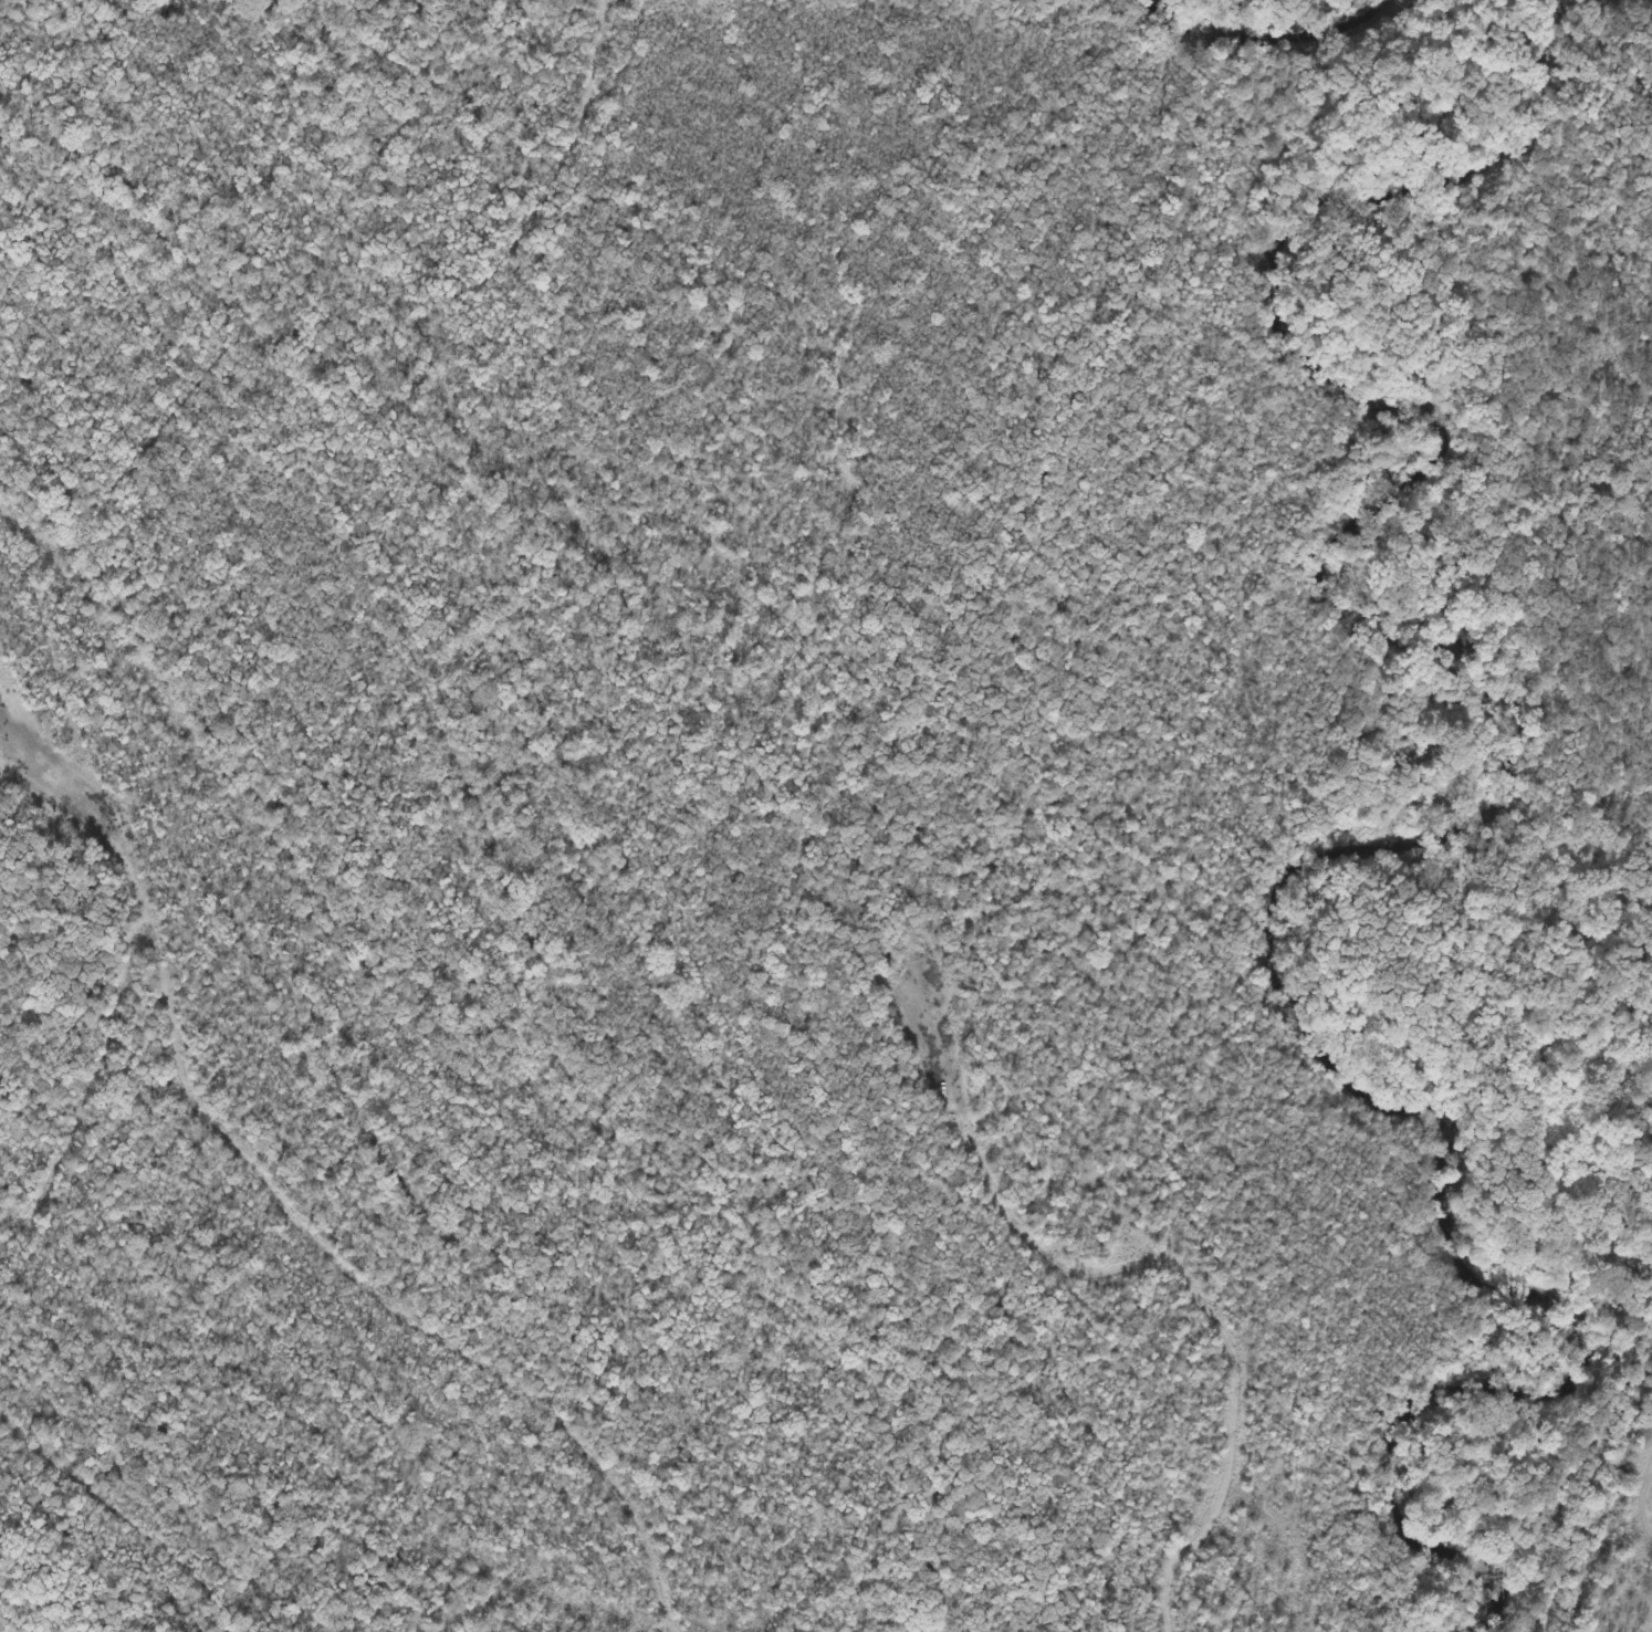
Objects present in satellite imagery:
river: (1278, 45)
river: (1461, 836)

